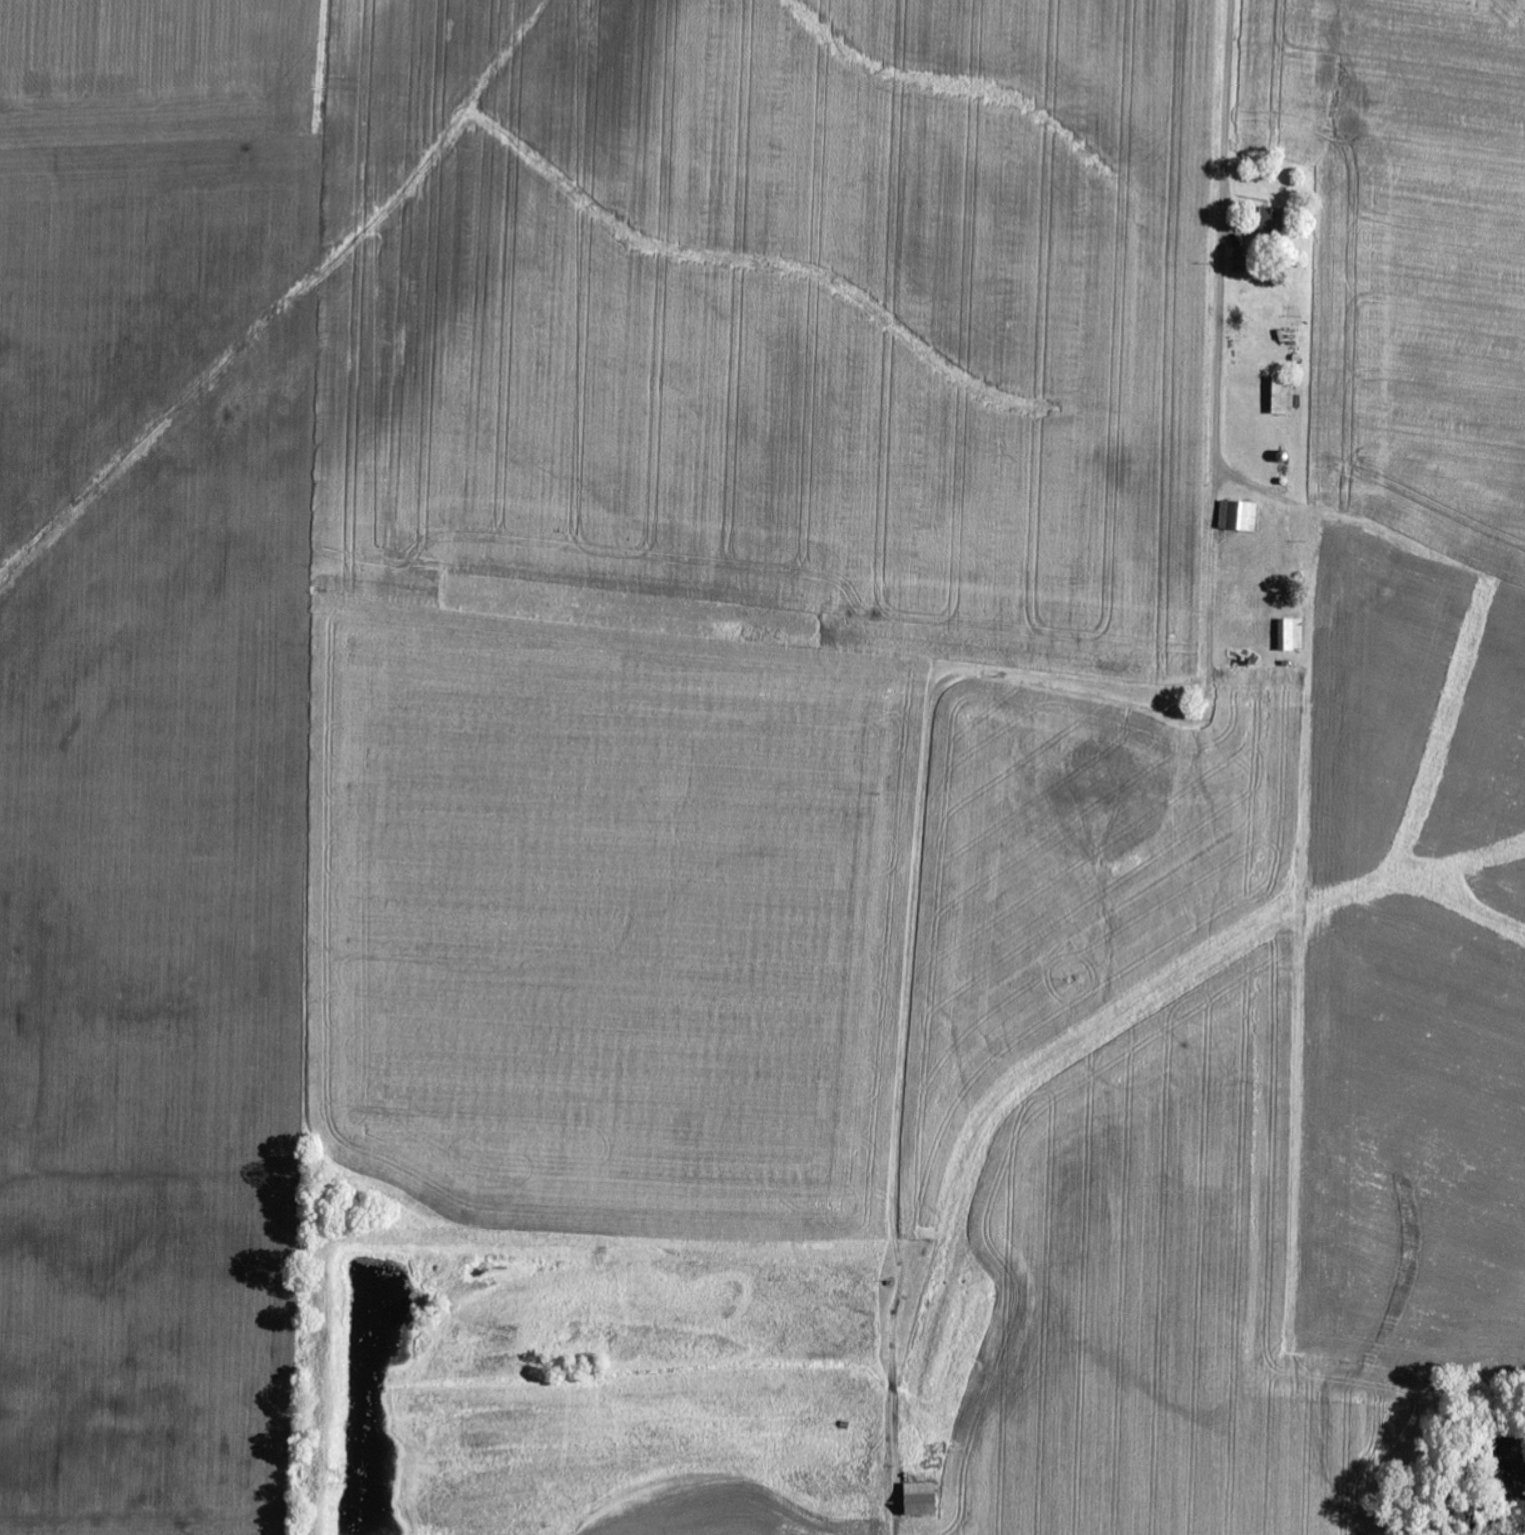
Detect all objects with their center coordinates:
building: (1264, 218)
building: (1280, 398)
building: (1235, 515)
road: (1358, 516)
building: (1289, 635)
road: (1163, 773)
road: (894, 969)

